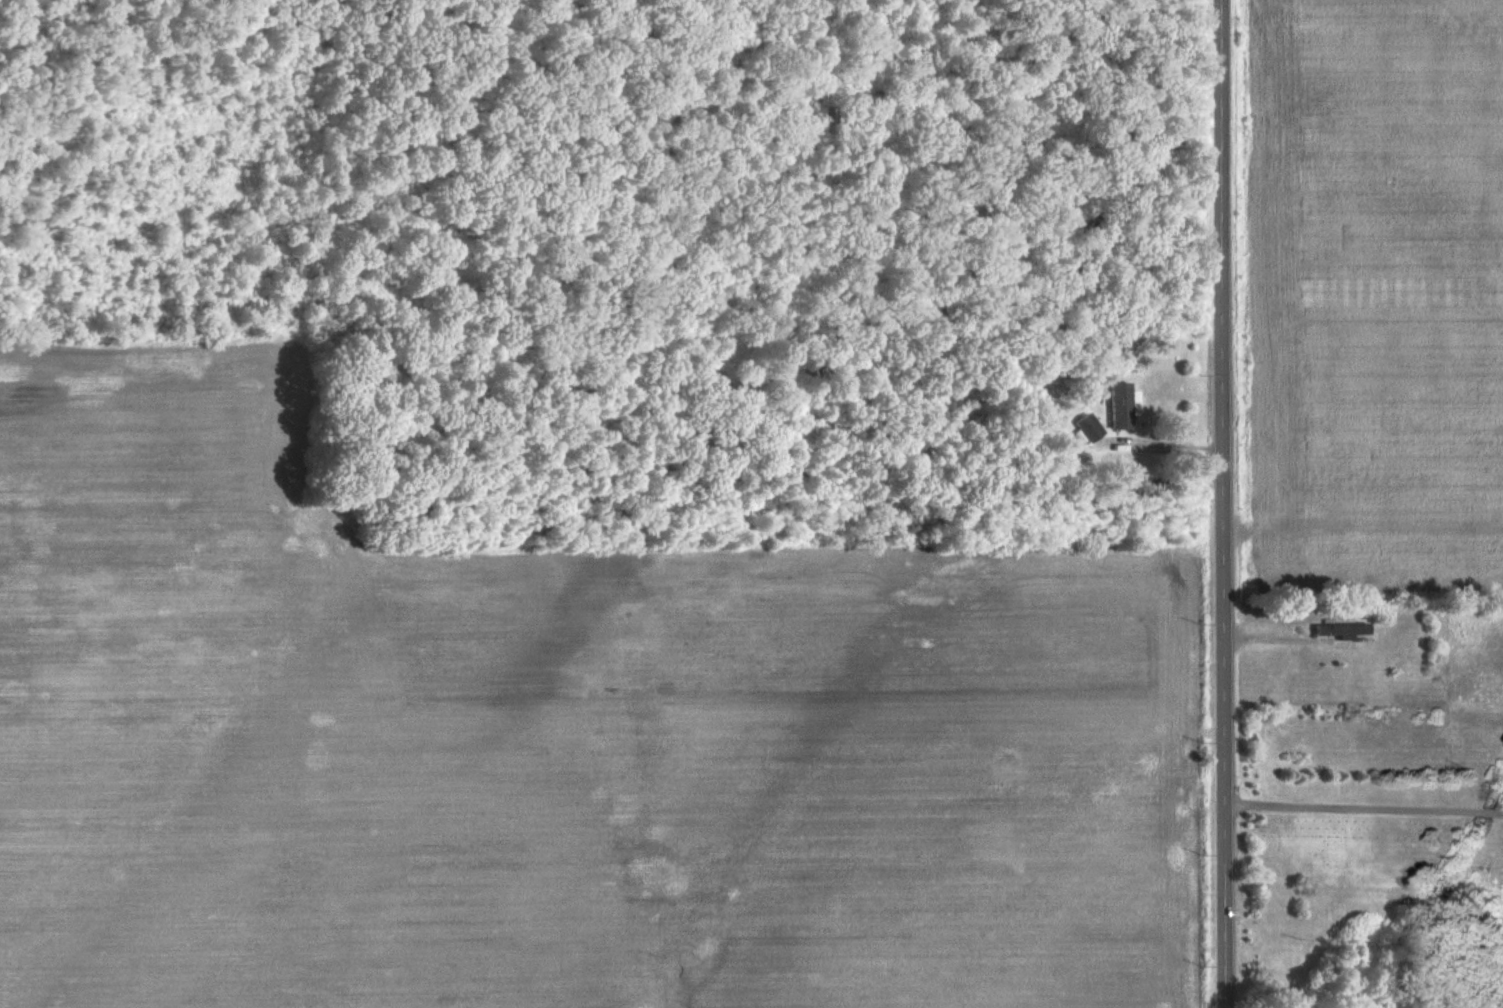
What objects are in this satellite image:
building: (1121, 403)
building: (1085, 427)
road: (1220, 504)
building: (1340, 630)

